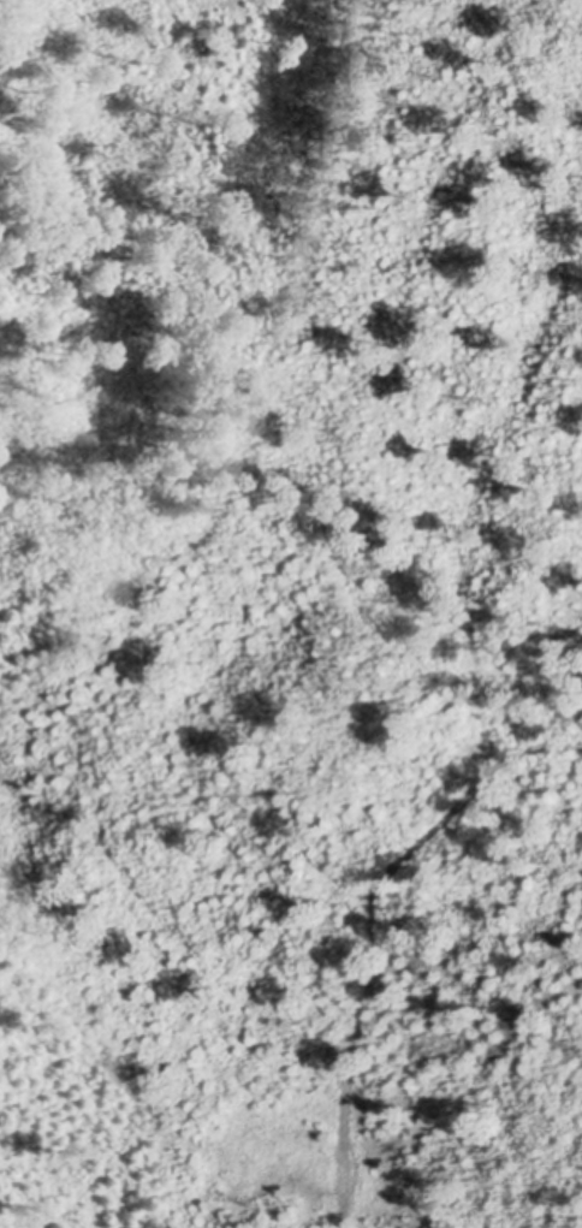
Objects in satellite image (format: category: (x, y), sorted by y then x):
road: (338, 1103)

